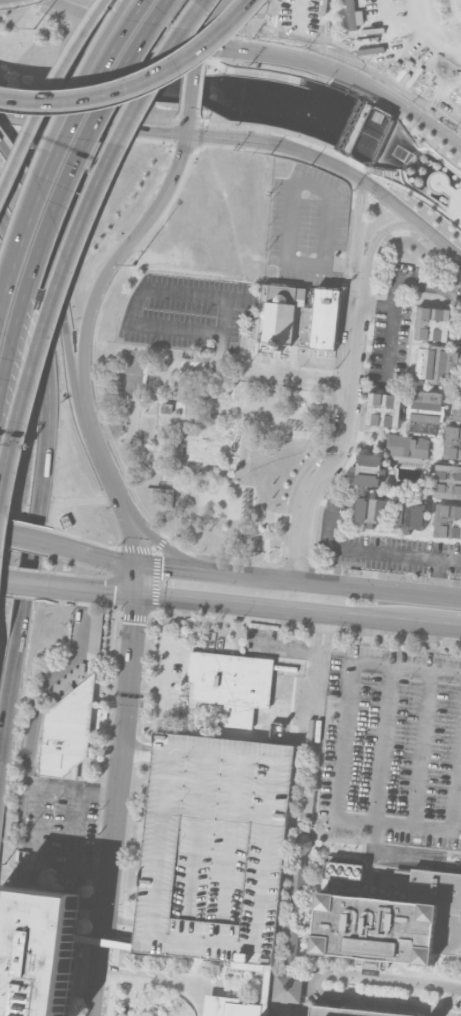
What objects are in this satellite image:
parking lot: (169, 6)
road: (115, 16)
road: (205, 19)
park: (436, 28)
track: (365, 39)
traffic signals: (198, 43)
road: (197, 50)
road: (259, 50)
road: (138, 84)
road: (194, 87)
road: (46, 95)
road: (190, 126)
dam: (353, 126)
traffic signals: (189, 136)
road: (247, 140)
road: (59, 148)
road: (415, 151)
road: (407, 157)
road: (441, 159)
road: (40, 163)
road: (403, 165)
park: (421, 174)
road: (441, 177)
road: (309, 182)
road: (376, 183)
road: (59, 191)
road: (373, 191)
road: (450, 192)
road: (423, 194)
road: (422, 198)
road: (454, 206)
parking lot: (306, 223)
road: (358, 224)
road: (382, 231)
road: (70, 244)
road: (117, 255)
road: (53, 260)
road: (322, 265)
road: (138, 296)
road: (395, 298)
road: (376, 305)
parking lot: (187, 311)
building: (280, 313)
building: (323, 318)
building: (432, 324)
road: (223, 332)
road: (177, 363)
building: (437, 364)
park: (131, 373)
road: (283, 376)
fountain: (301, 403)
building: (457, 405)
road: (259, 406)
building: (166, 407)
building: (384, 409)
building: (426, 411)
road: (344, 430)
road: (166, 437)
building: (453, 442)
road: (225, 444)
building: (408, 446)
park: (208, 448)
building: (368, 469)
road: (111, 478)
road: (43, 481)
building: (448, 481)
building: (372, 510)
road: (255, 515)
building: (409, 515)
road: (190, 519)
building: (448, 521)
road: (12, 533)
road: (33, 538)
road: (156, 539)
road: (266, 547)
road: (356, 550)
traffic signals: (163, 568)
road: (250, 575)
road: (437, 578)
road: (138, 582)
road: (7, 584)
road: (25, 586)
road: (86, 592)
traffic signals: (113, 596)
road: (299, 612)
traffic signals: (136, 623)
road: (283, 649)
road: (164, 672)
road: (317, 673)
road: (130, 680)
building: (232, 683)
road: (146, 684)
road: (329, 707)
road: (110, 723)
building: (67, 730)
road: (31, 735)
parking lot: (391, 747)
road: (422, 748)
road: (140, 751)
road: (337, 779)
road: (378, 801)
road: (24, 826)
road: (78, 830)
road: (44, 842)
road: (115, 843)
building: (216, 848)
parking lot: (216, 848)
building: (345, 870)
building: (299, 871)
road: (92, 873)
road: (94, 902)
building: (394, 922)
road: (122, 927)
building: (37, 951)
building: (291, 967)
road: (103, 970)
road: (108, 974)
road: (114, 975)
road: (317, 977)
road: (174, 980)
road: (148, 983)
road: (416, 993)
road: (199, 998)
road: (444, 1000)
building: (236, 1007)
building: (347, 1012)

